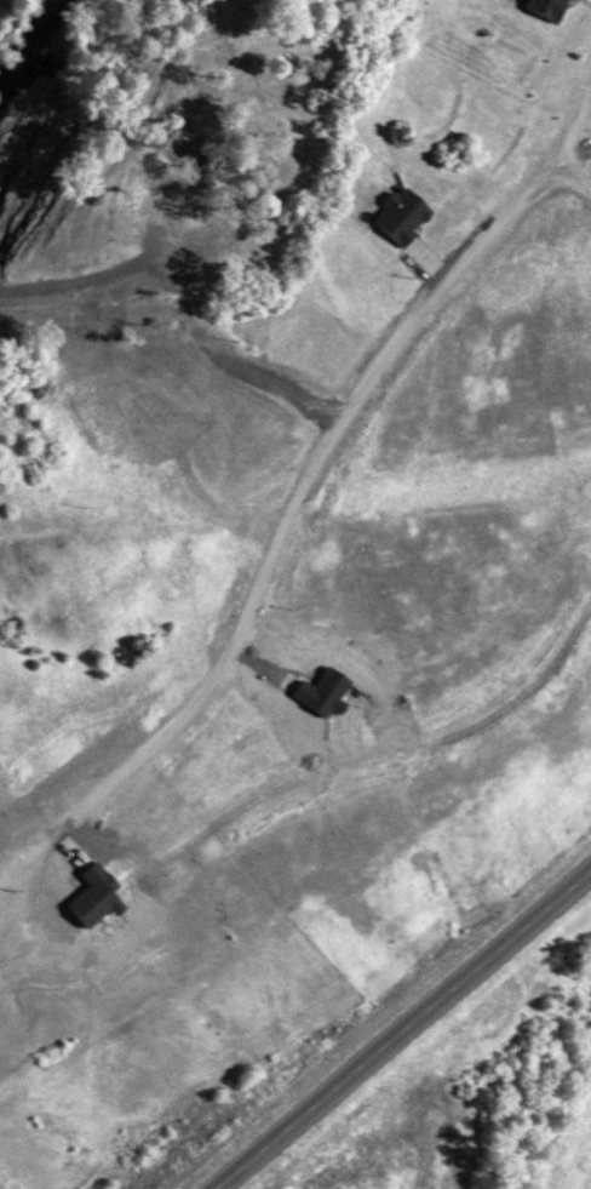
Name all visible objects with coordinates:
road: (572, 170)
road: (297, 488)
road: (397, 1027)

